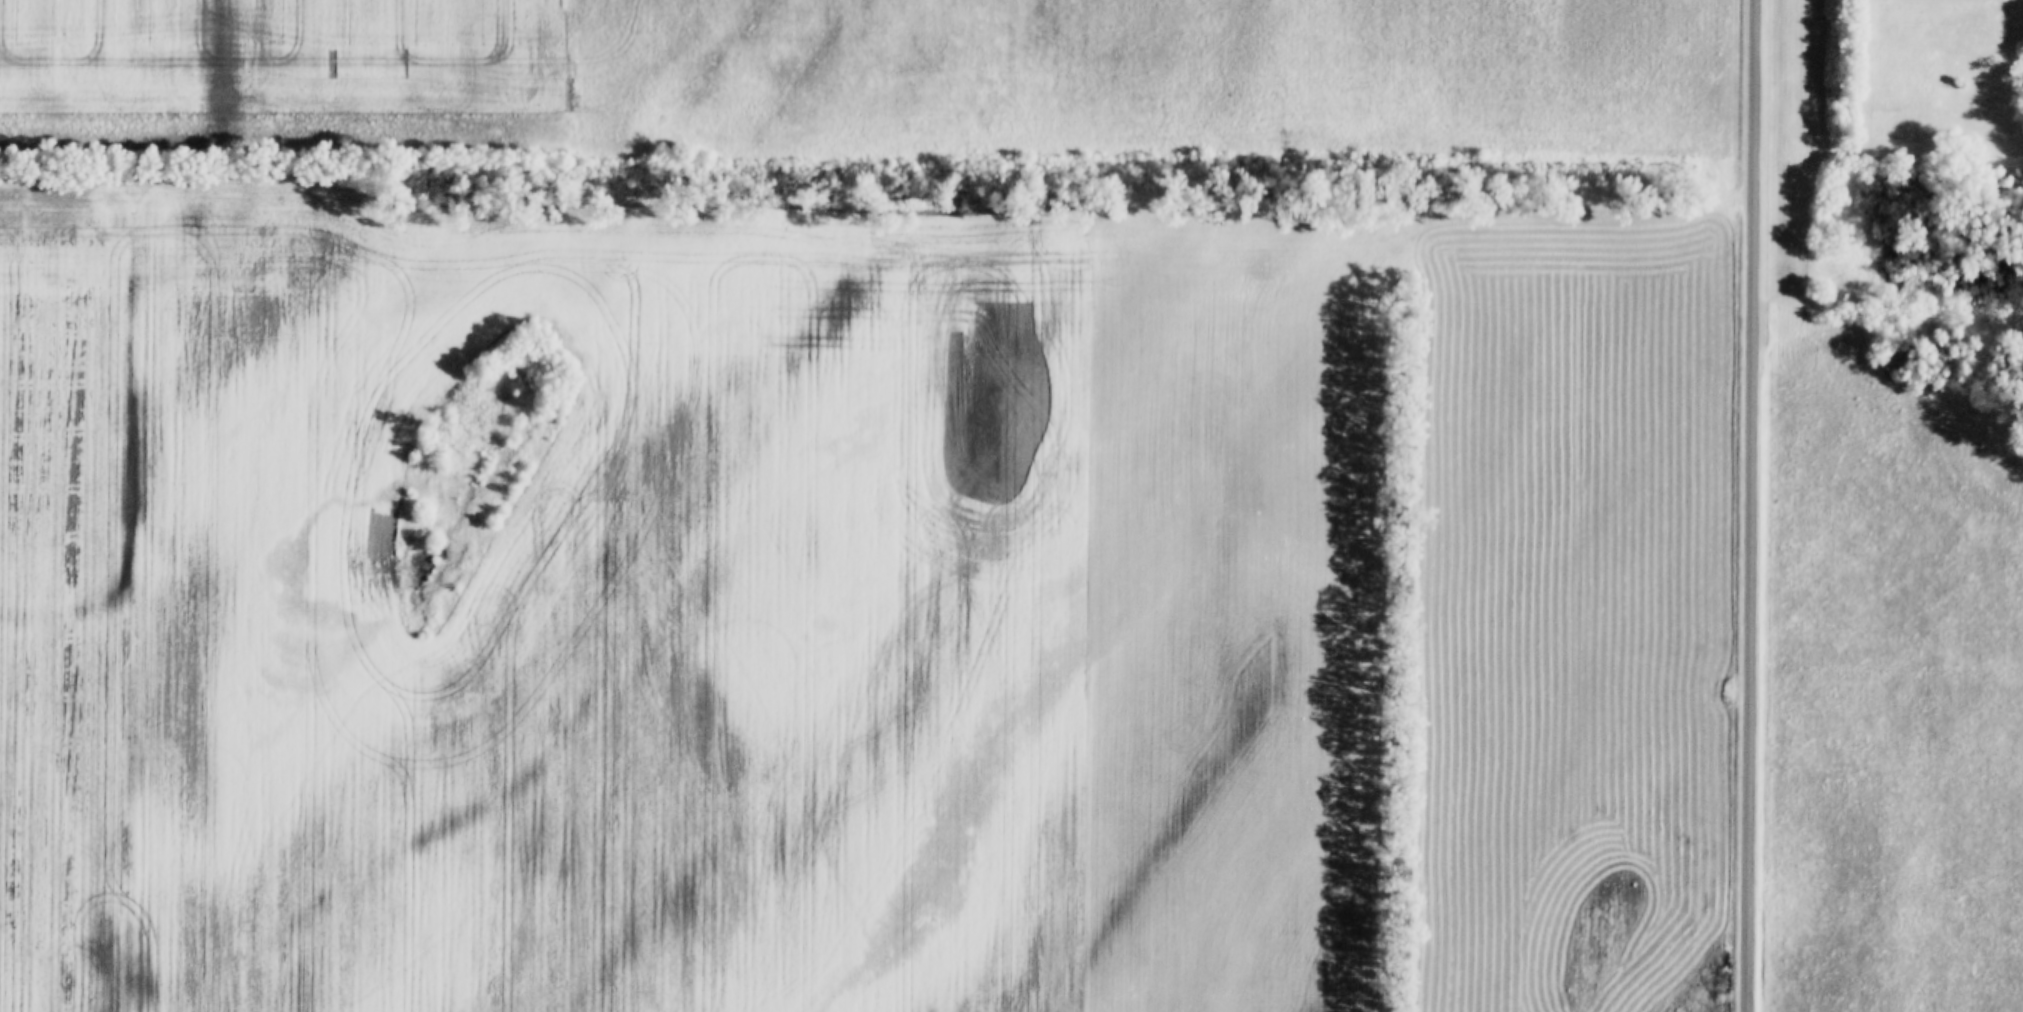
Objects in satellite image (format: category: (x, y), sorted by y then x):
road: (1756, 506)

